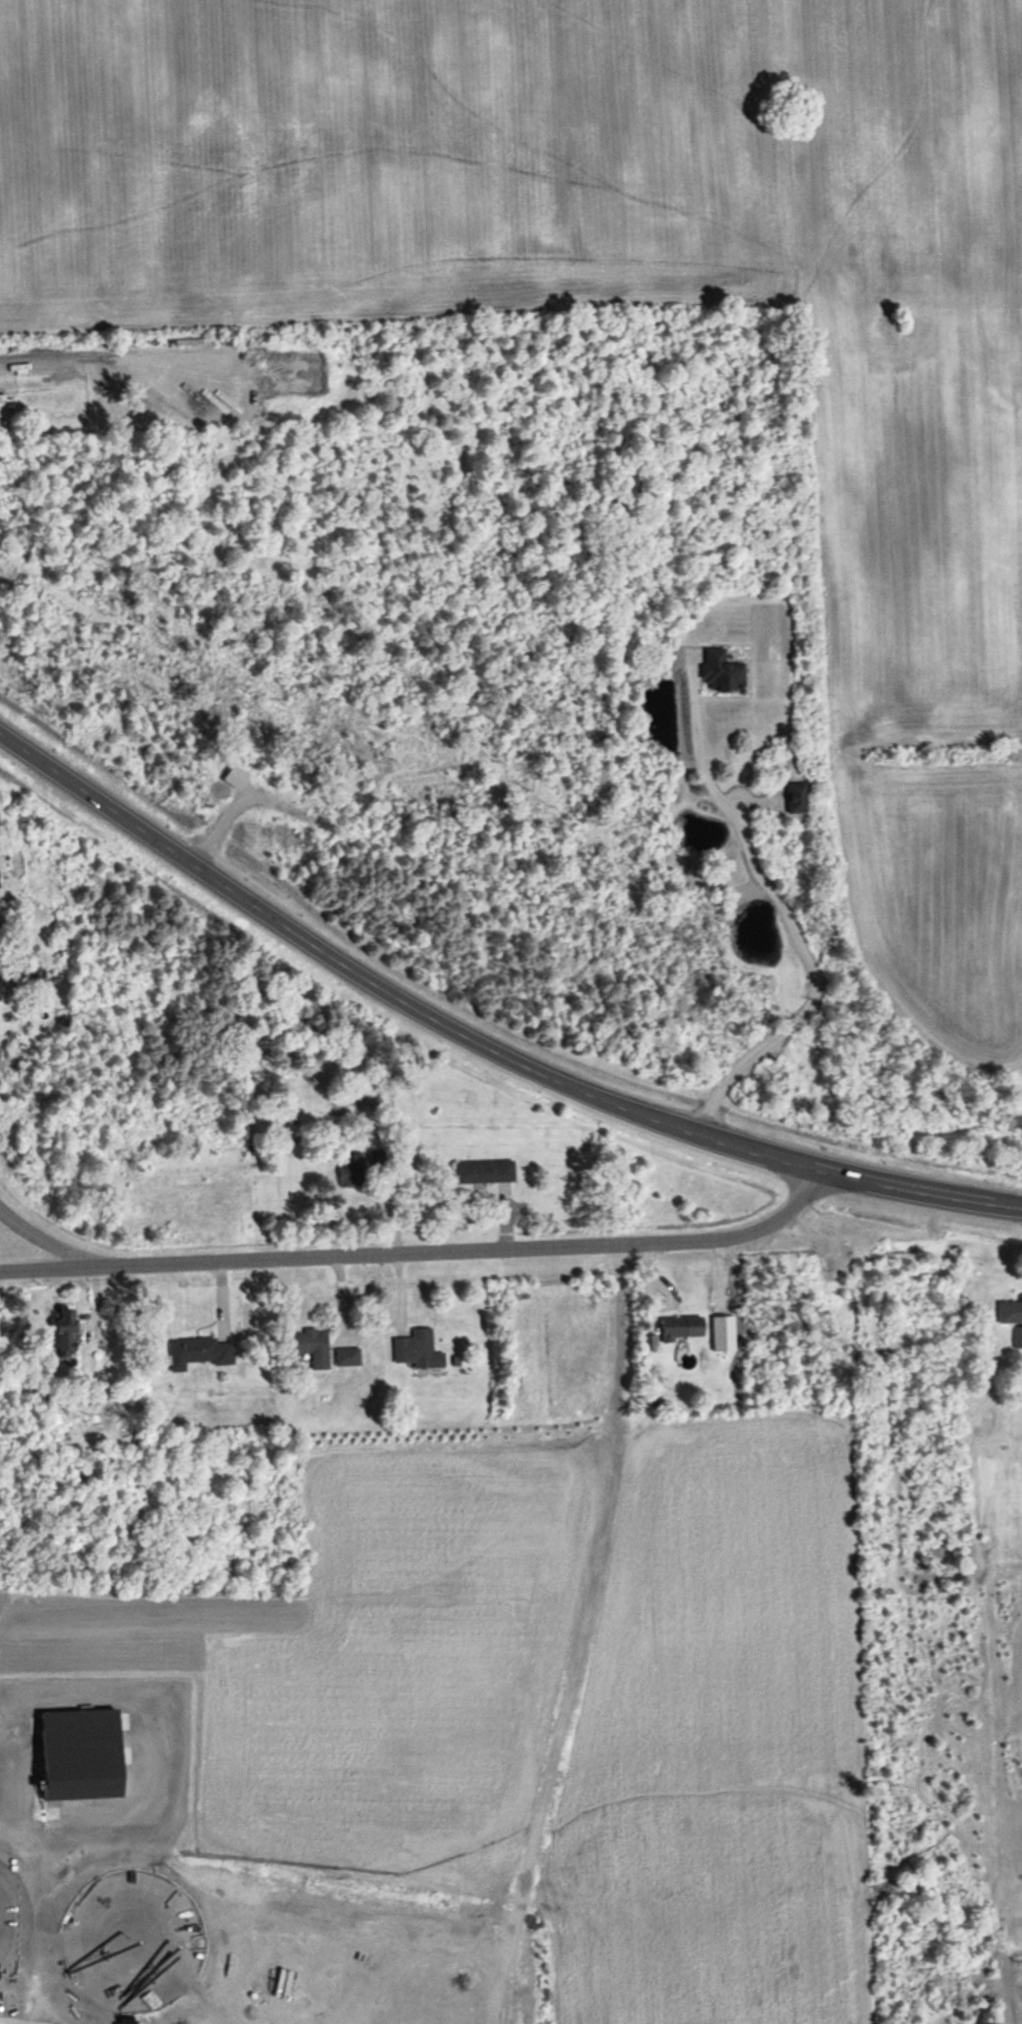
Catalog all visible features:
building: (720, 672)
building: (799, 800)
road: (790, 926)
building: (22, 978)
road: (391, 998)
building: (483, 1172)
building: (349, 1173)
road: (923, 1192)
road: (43, 1242)
road: (422, 1251)
building: (1010, 1312)
road: (363, 1325)
building: (679, 1329)
building: (64, 1331)
building: (311, 1347)
building: (416, 1350)
building: (197, 1353)
building: (346, 1357)

